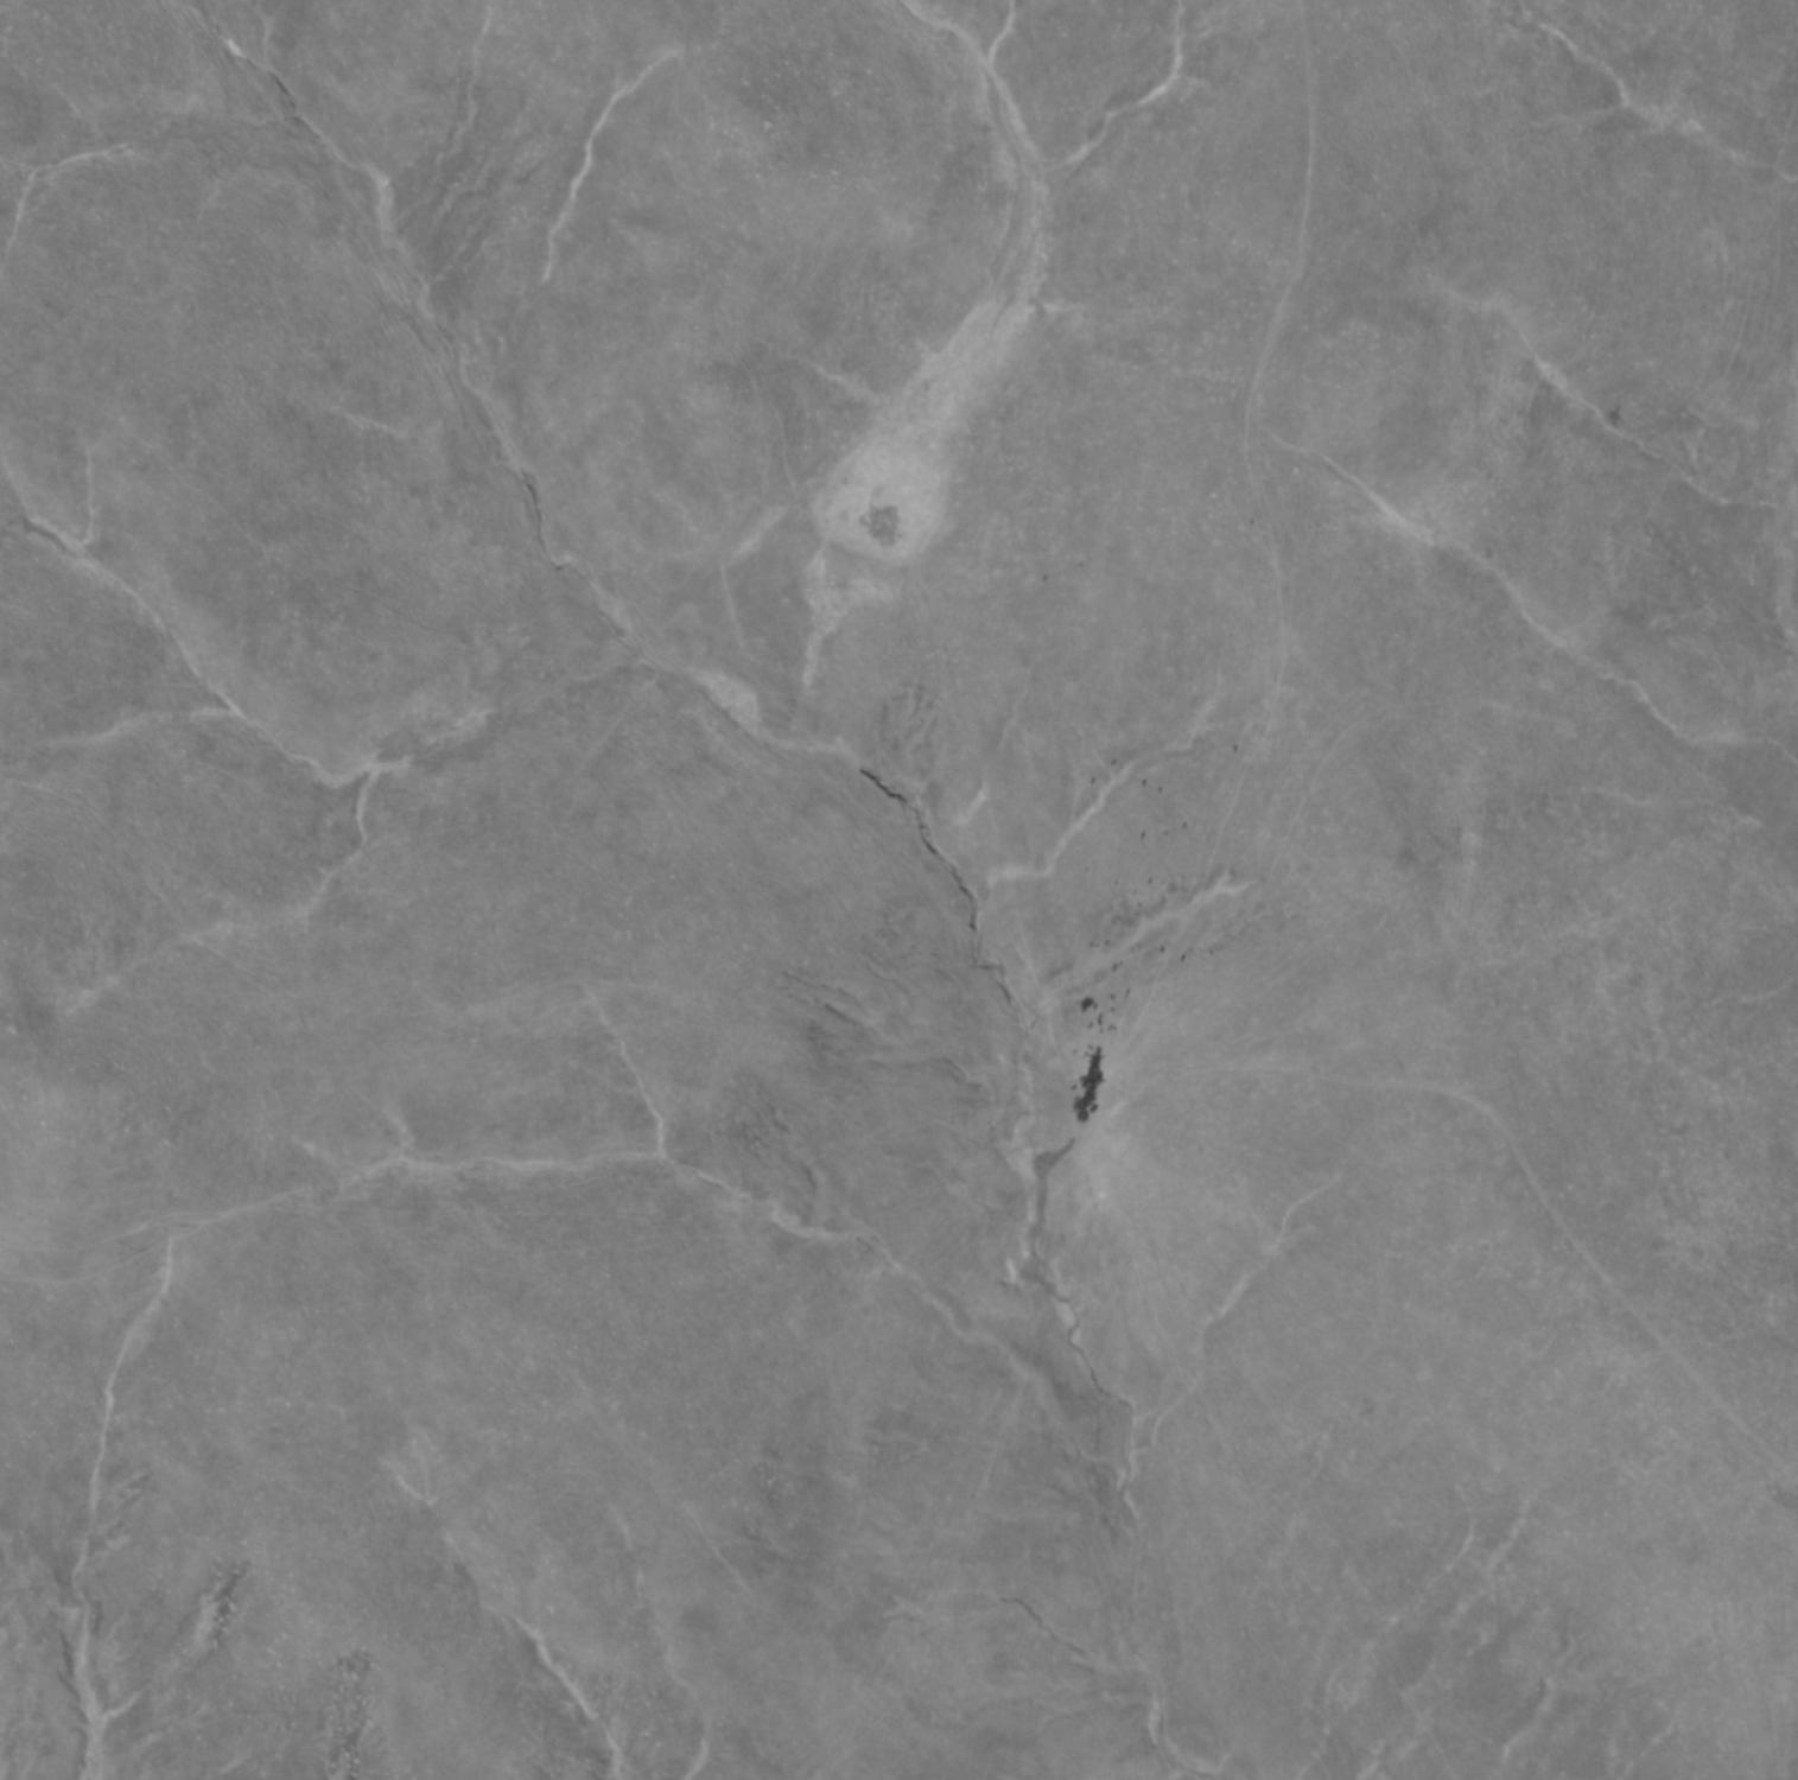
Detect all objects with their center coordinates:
road: (1386, 781)

